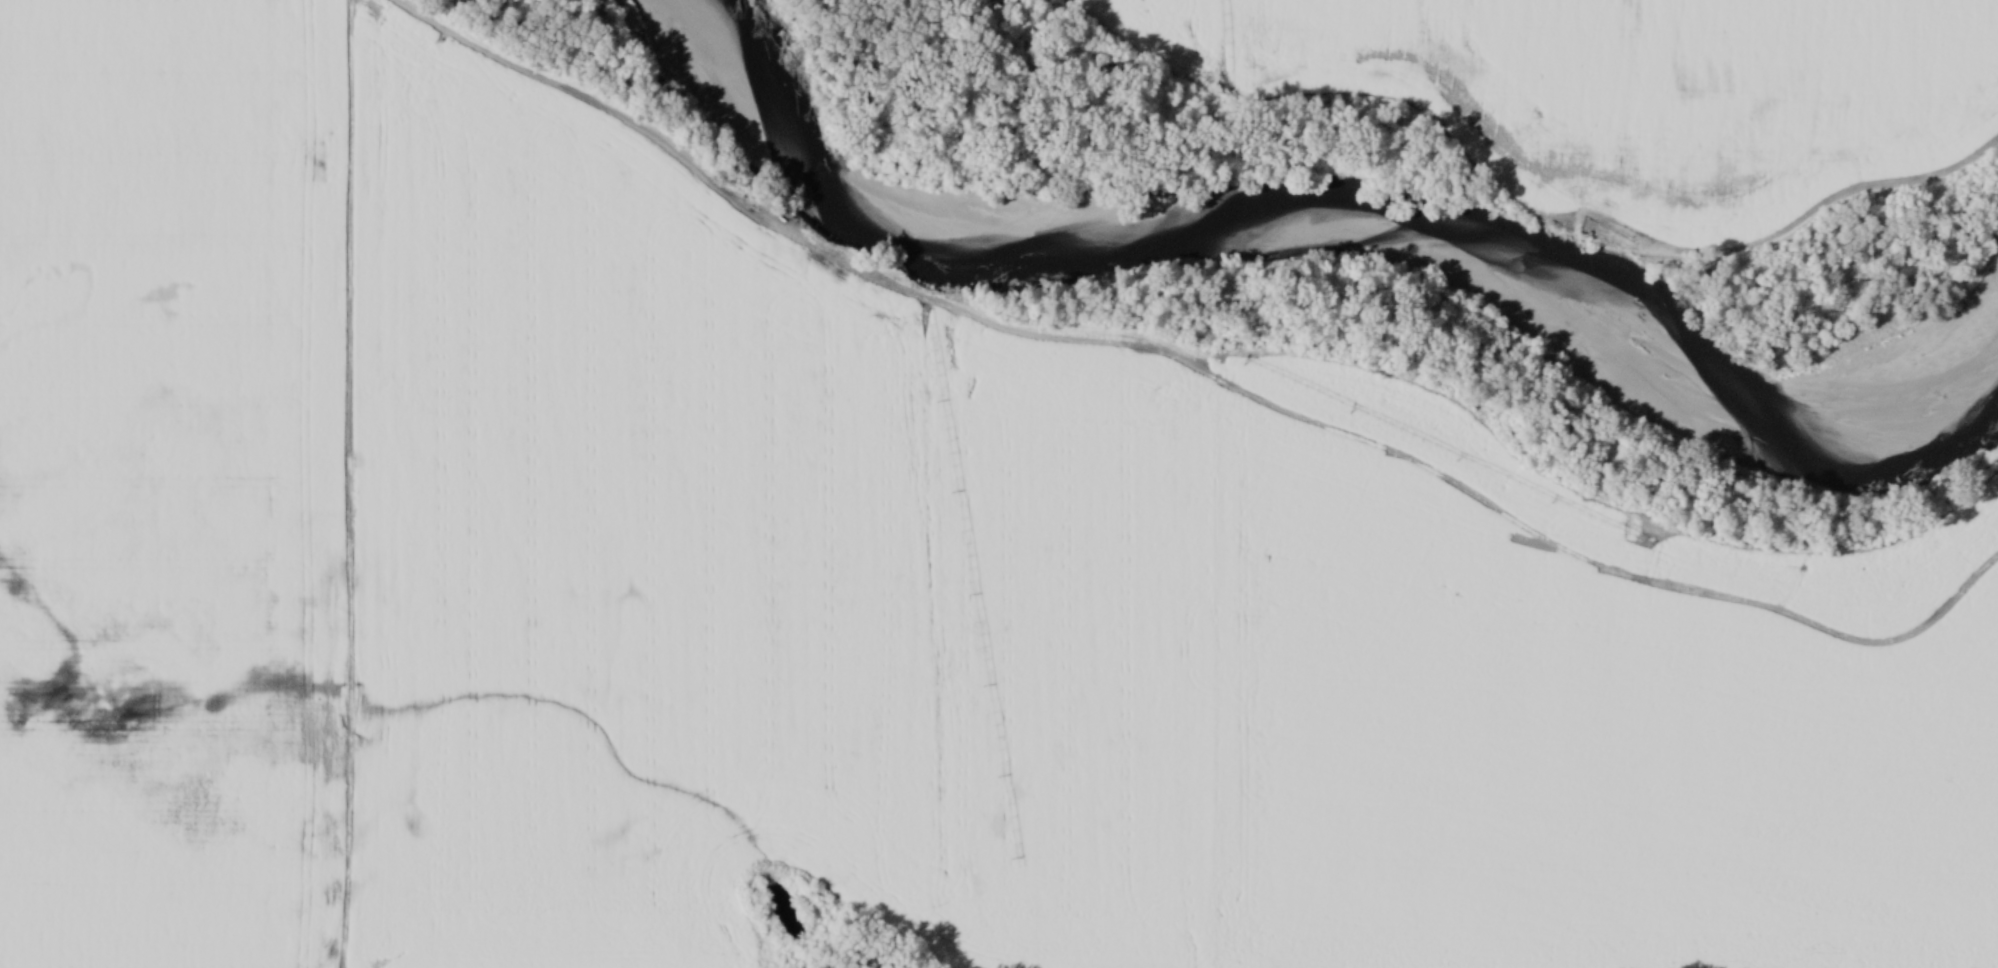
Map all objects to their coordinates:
river: (1342, 213)
road: (347, 484)

